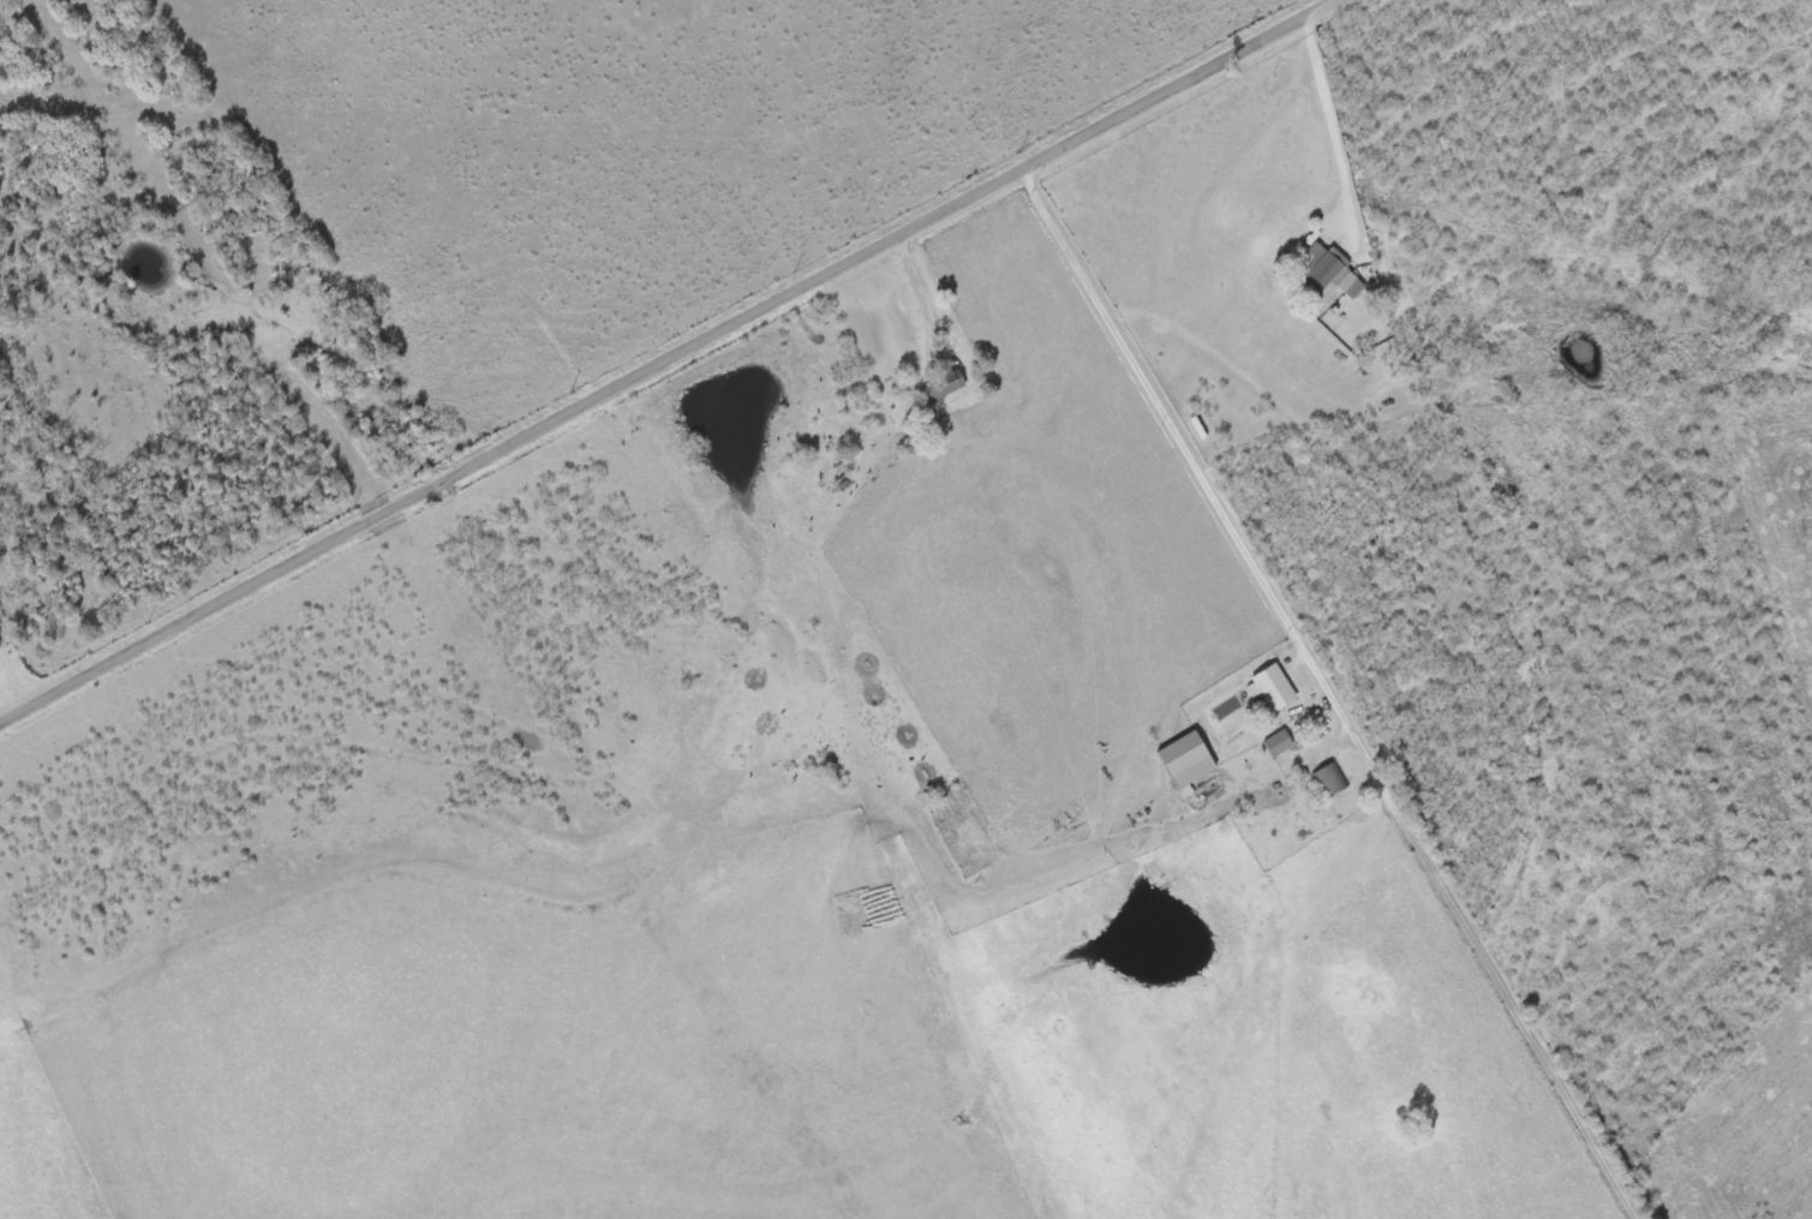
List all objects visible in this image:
building: (1329, 273)
road: (671, 361)
building: (943, 389)
building: (1272, 689)
building: (1279, 745)
building: (1186, 763)
building: (1330, 781)

